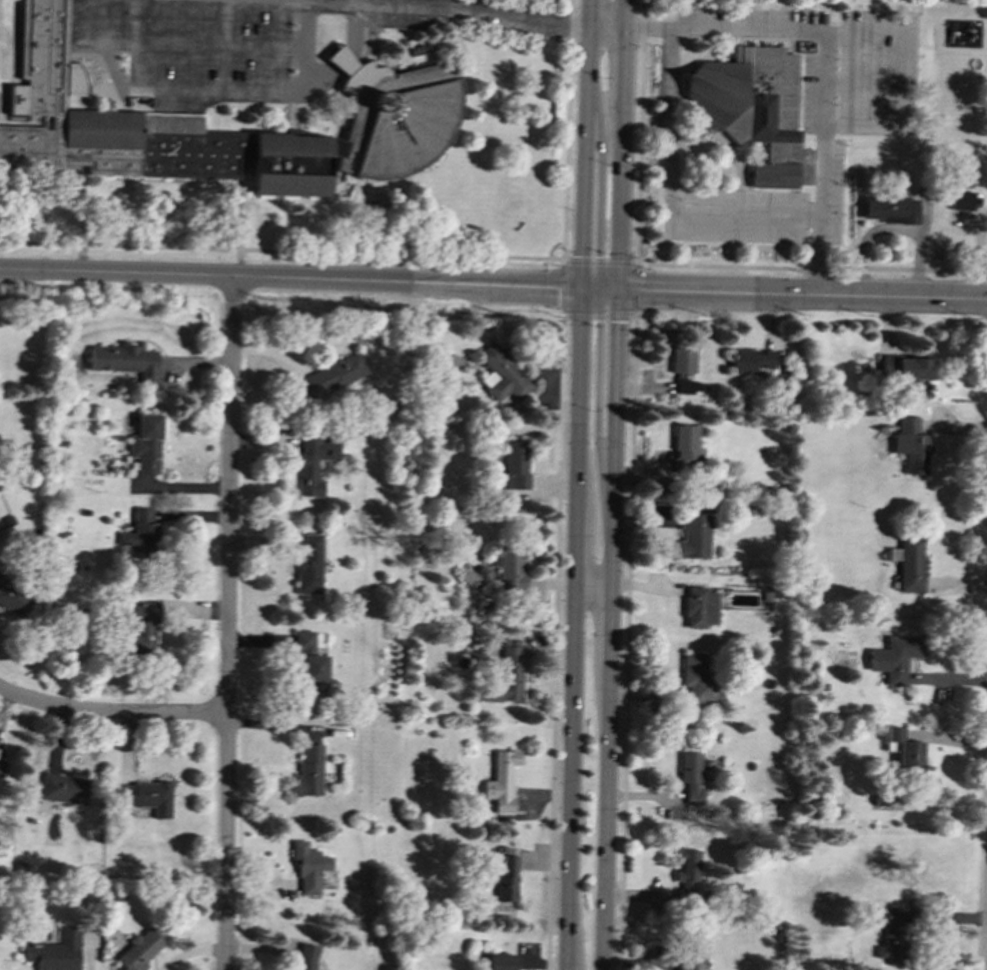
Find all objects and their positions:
road: (295, 0)
road: (918, 16)
road: (481, 19)
road: (726, 26)
road: (566, 29)
road: (870, 30)
road: (608, 32)
road: (547, 38)
parking lot: (223, 47)
road: (908, 79)
road: (10, 81)
road: (868, 83)
road: (288, 89)
building: (755, 109)
building: (397, 119)
road: (866, 128)
road: (567, 129)
building: (142, 130)
road: (640, 131)
road: (587, 144)
road: (622, 146)
road: (826, 163)
road: (602, 189)
road: (670, 197)
building: (963, 199)
building: (889, 209)
road: (240, 221)
road: (80, 223)
road: (282, 249)
traffic signals: (586, 256)
road: (600, 260)
road: (812, 267)
road: (292, 280)
road: (564, 284)
road: (635, 287)
traffic signals: (557, 288)
road: (601, 290)
traffic signals: (642, 292)
road: (802, 295)
road: (598, 311)
traffic signals: (617, 321)
building: (124, 360)
building: (682, 360)
building: (752, 360)
building: (905, 368)
building: (501, 373)
building: (332, 376)
road: (598, 415)
building: (146, 444)
building: (910, 445)
building: (684, 447)
building: (313, 463)
building: (516, 465)
building: (141, 533)
building: (694, 536)
building: (910, 563)
building: (309, 565)
building: (510, 566)
building: (14, 599)
building: (700, 607)
road: (227, 624)
building: (141, 629)
road: (575, 629)
road: (609, 630)
road: (554, 640)
road: (626, 641)
building: (894, 658)
building: (310, 663)
building: (505, 676)
building: (696, 680)
road: (111, 712)
building: (903, 752)
building: (309, 771)
building: (690, 776)
building: (501, 780)
building: (62, 788)
building: (145, 796)
building: (309, 866)
building: (686, 871)
building: (504, 873)
building: (889, 938)
building: (138, 950)
building: (55, 951)
road: (89, 953)
road: (986, 954)
building: (306, 957)
building: (688, 964)

